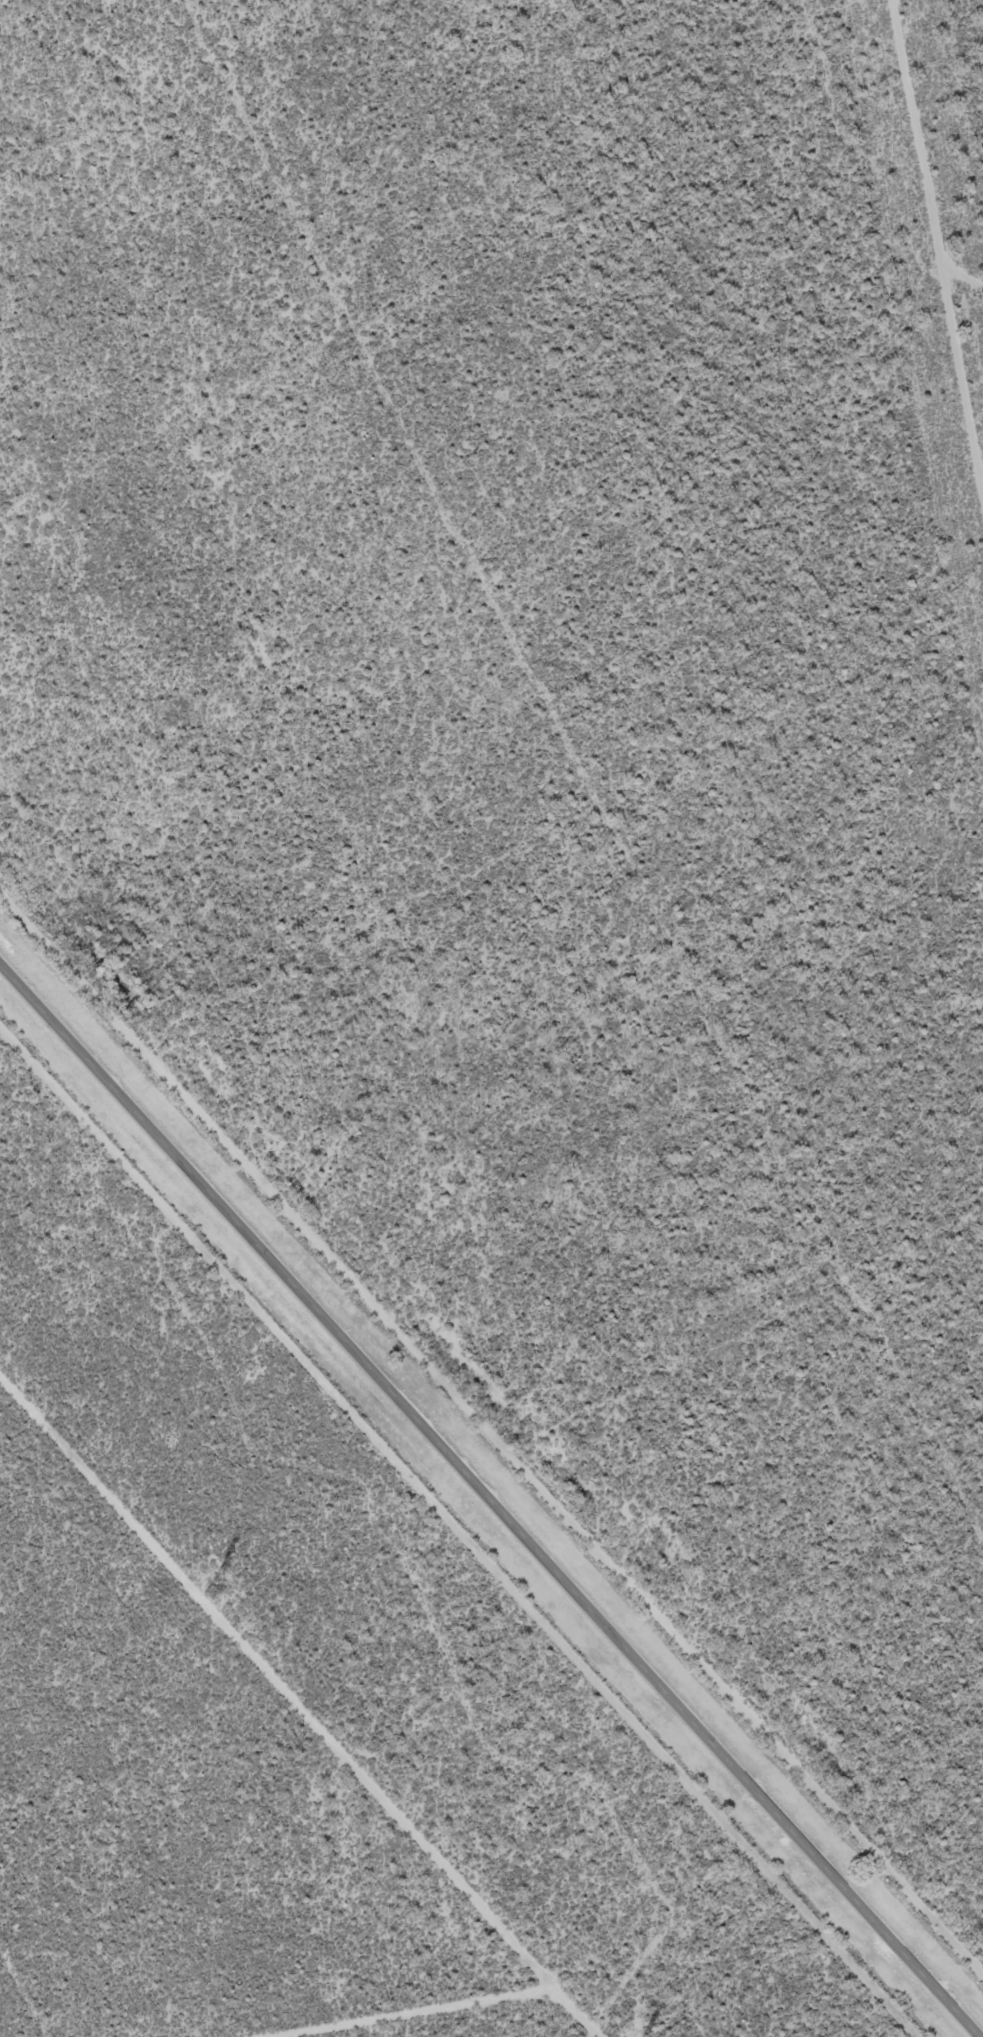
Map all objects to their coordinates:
power tower: (203, 1593)

